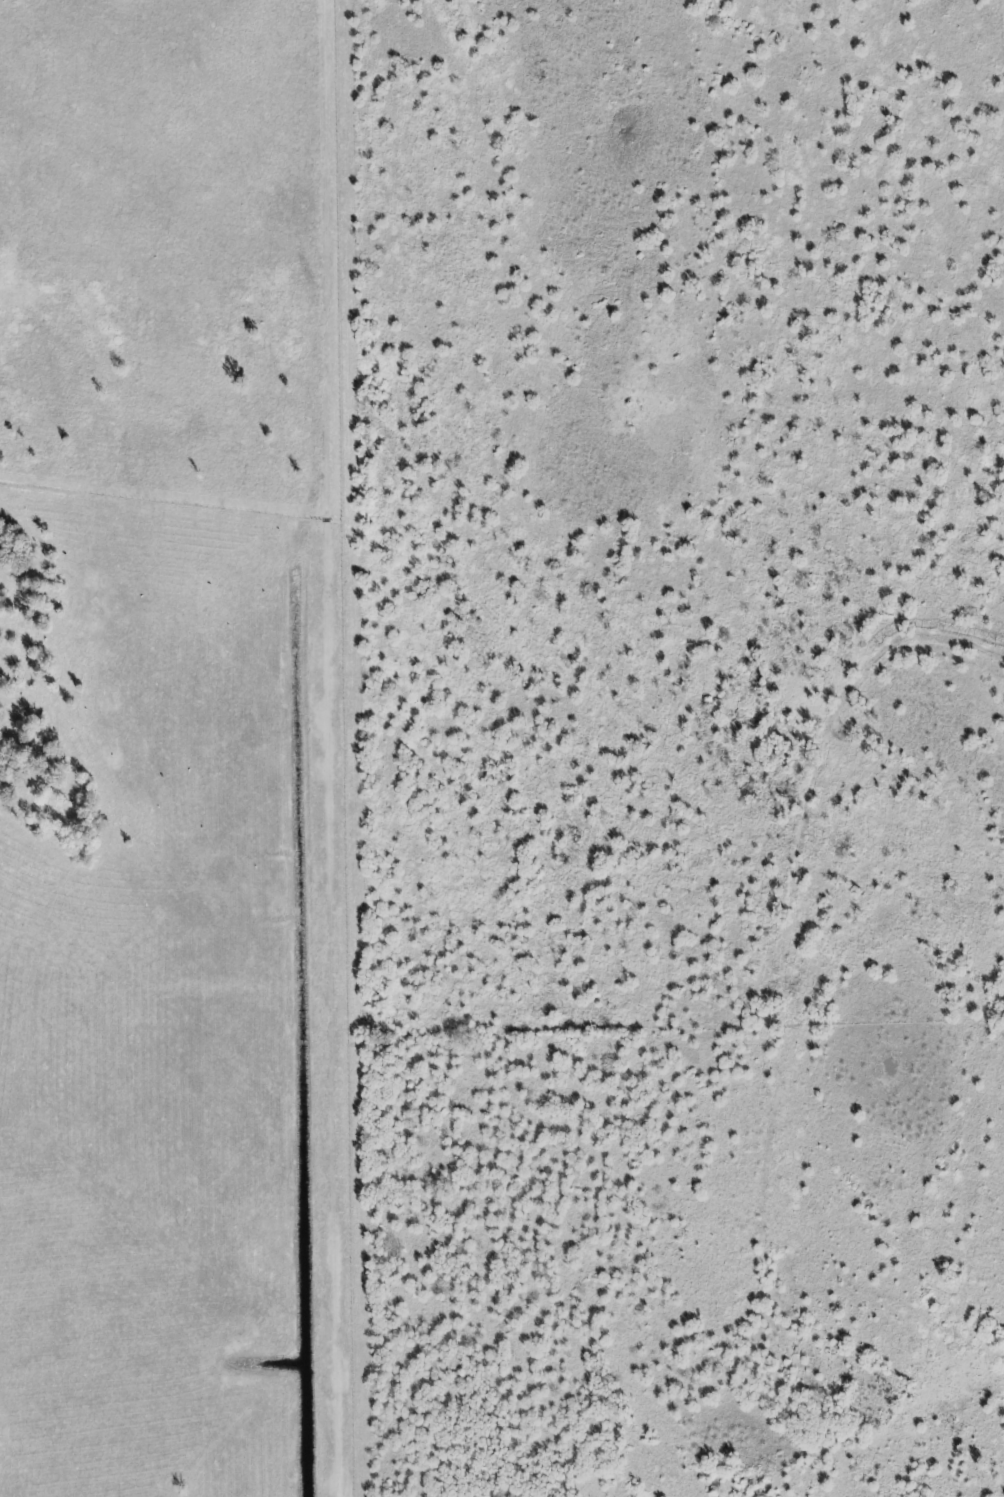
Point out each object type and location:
road: (977, 1385)

